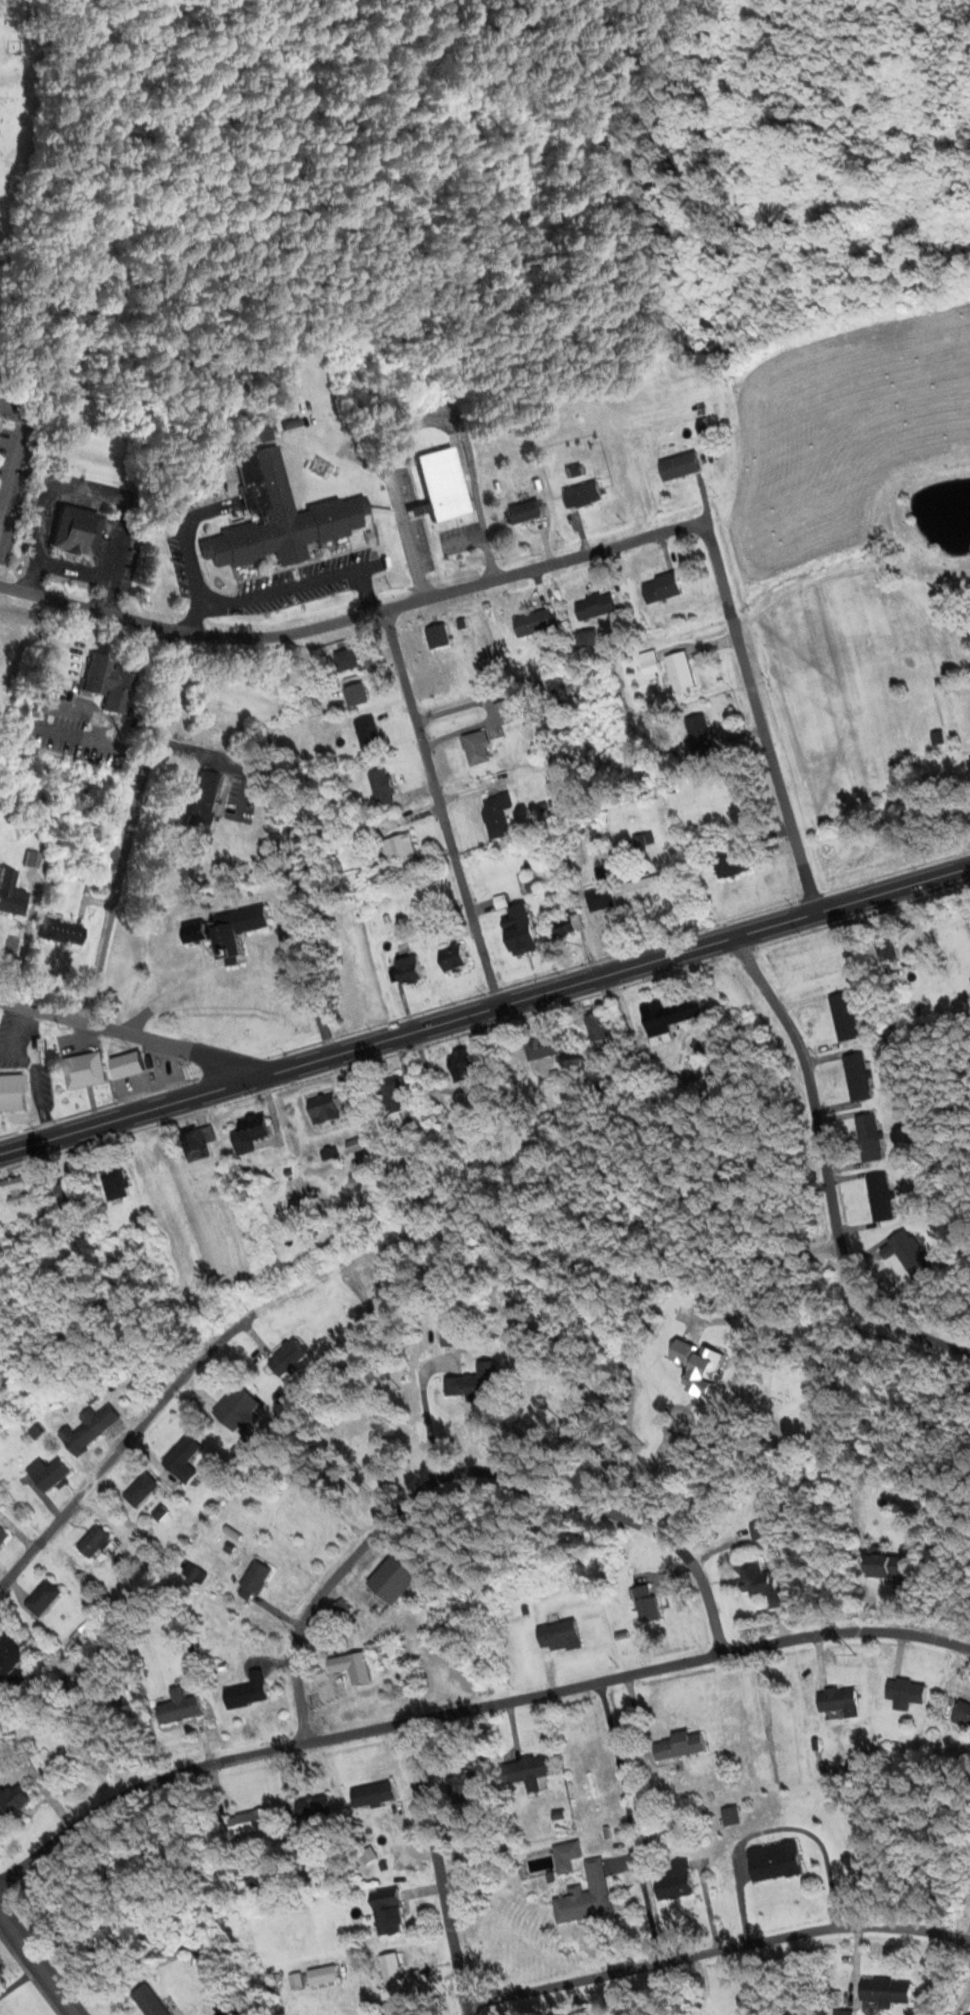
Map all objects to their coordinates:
park: (23, 102)
road: (421, 419)
building: (702, 431)
building: (261, 435)
road: (18, 454)
building: (677, 466)
building: (439, 484)
road: (95, 488)
building: (580, 495)
building: (520, 513)
building: (274, 518)
building: (73, 531)
road: (834, 576)
building: (660, 588)
building: (594, 606)
road: (351, 620)
building: (533, 623)
building: (438, 636)
building: (587, 639)
building: (344, 660)
building: (649, 664)
building: (679, 670)
building: (115, 689)
building: (355, 694)
road: (492, 708)
building: (505, 712)
road: (760, 715)
building: (367, 733)
building: (699, 733)
building: (477, 748)
building: (381, 787)
building: (202, 801)
road: (442, 807)
building: (496, 815)
road: (407, 819)
road: (131, 825)
building: (643, 839)
building: (398, 846)
building: (730, 861)
building: (644, 886)
building: (10, 893)
building: (599, 897)
building: (565, 924)
building: (232, 928)
building: (517, 929)
building: (56, 931)
building: (192, 931)
building: (884, 946)
building: (451, 956)
building: (408, 968)
road: (484, 1008)
building: (844, 1016)
building: (666, 1017)
building: (595, 1024)
road: (133, 1034)
building: (542, 1046)
building: (460, 1058)
building: (124, 1064)
building: (82, 1069)
building: (857, 1076)
building: (11, 1092)
building: (390, 1094)
building: (328, 1106)
road: (837, 1108)
road: (839, 1116)
building: (247, 1132)
building: (867, 1136)
building: (195, 1142)
road: (847, 1167)
road: (827, 1169)
building: (114, 1182)
building: (13, 1190)
building: (65, 1193)
building: (878, 1196)
building: (906, 1253)
building: (446, 1334)
building: (286, 1359)
building: (474, 1383)
road: (425, 1408)
building: (236, 1410)
building: (88, 1428)
road: (125, 1444)
building: (182, 1460)
building: (47, 1473)
road: (464, 1475)
building: (140, 1490)
building: (760, 1530)
building: (2, 1536)
building: (92, 1542)
building: (883, 1565)
building: (193, 1575)
building: (394, 1575)
building: (254, 1576)
building: (760, 1582)
building: (41, 1597)
building: (646, 1603)
building: (337, 1609)
building: (558, 1636)
building: (7, 1657)
building: (350, 1666)
building: (75, 1676)
building: (905, 1690)
building: (245, 1691)
building: (838, 1701)
building: (176, 1707)
road: (470, 1710)
building: (961, 1713)
building: (670, 1744)
building: (528, 1771)
building: (467, 1784)
building: (372, 1795)
building: (12, 1800)
building: (312, 1807)
building: (245, 1822)
road: (630, 1822)
building: (771, 1861)
road: (442, 1868)
building: (672, 1882)
building: (585, 1896)
building: (386, 1911)
road: (717, 1950)
road: (37, 1964)
building: (390, 1971)
building: (885, 1991)
building: (147, 2001)
building: (391, 2014)
building: (968, 2014)

